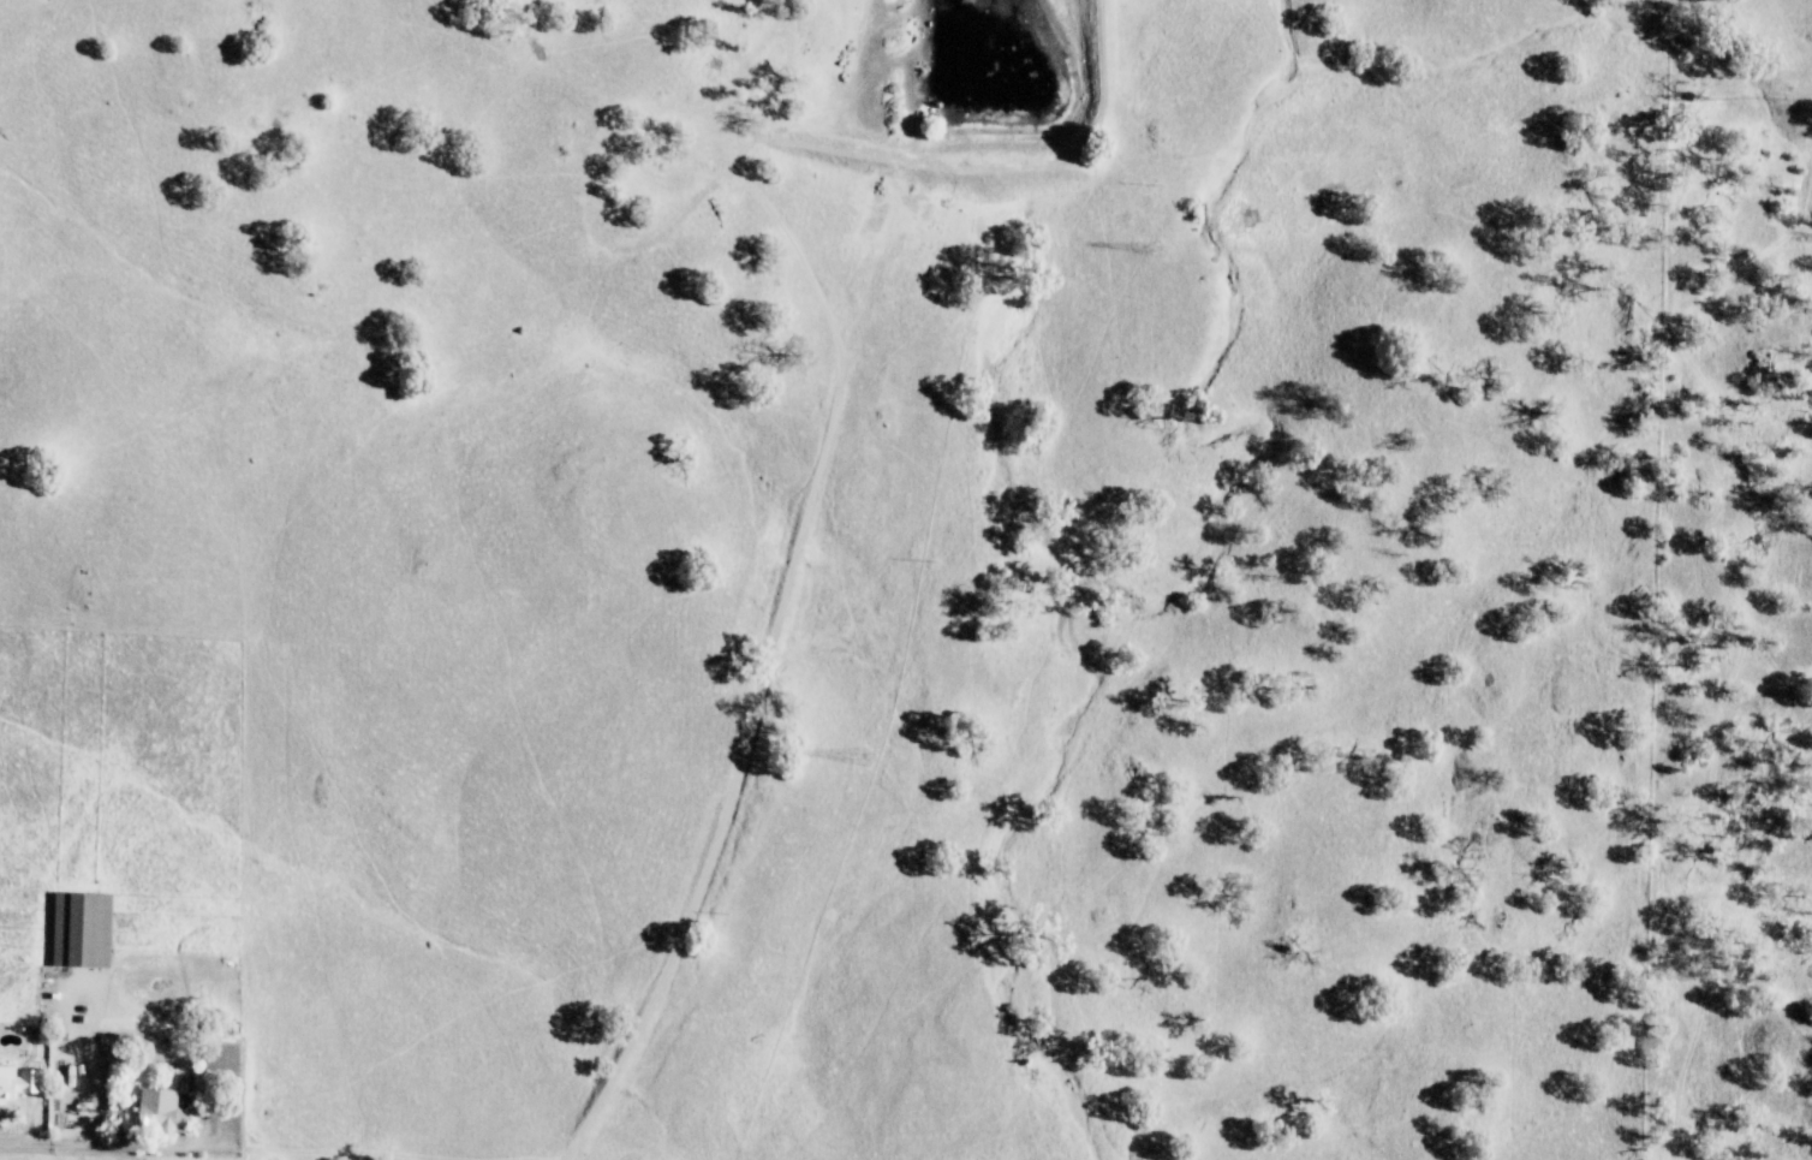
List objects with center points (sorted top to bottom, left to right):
power tower: (1166, 248)
power tower: (872, 752)
building: (20, 1084)
building: (167, 1112)
road: (143, 1146)

